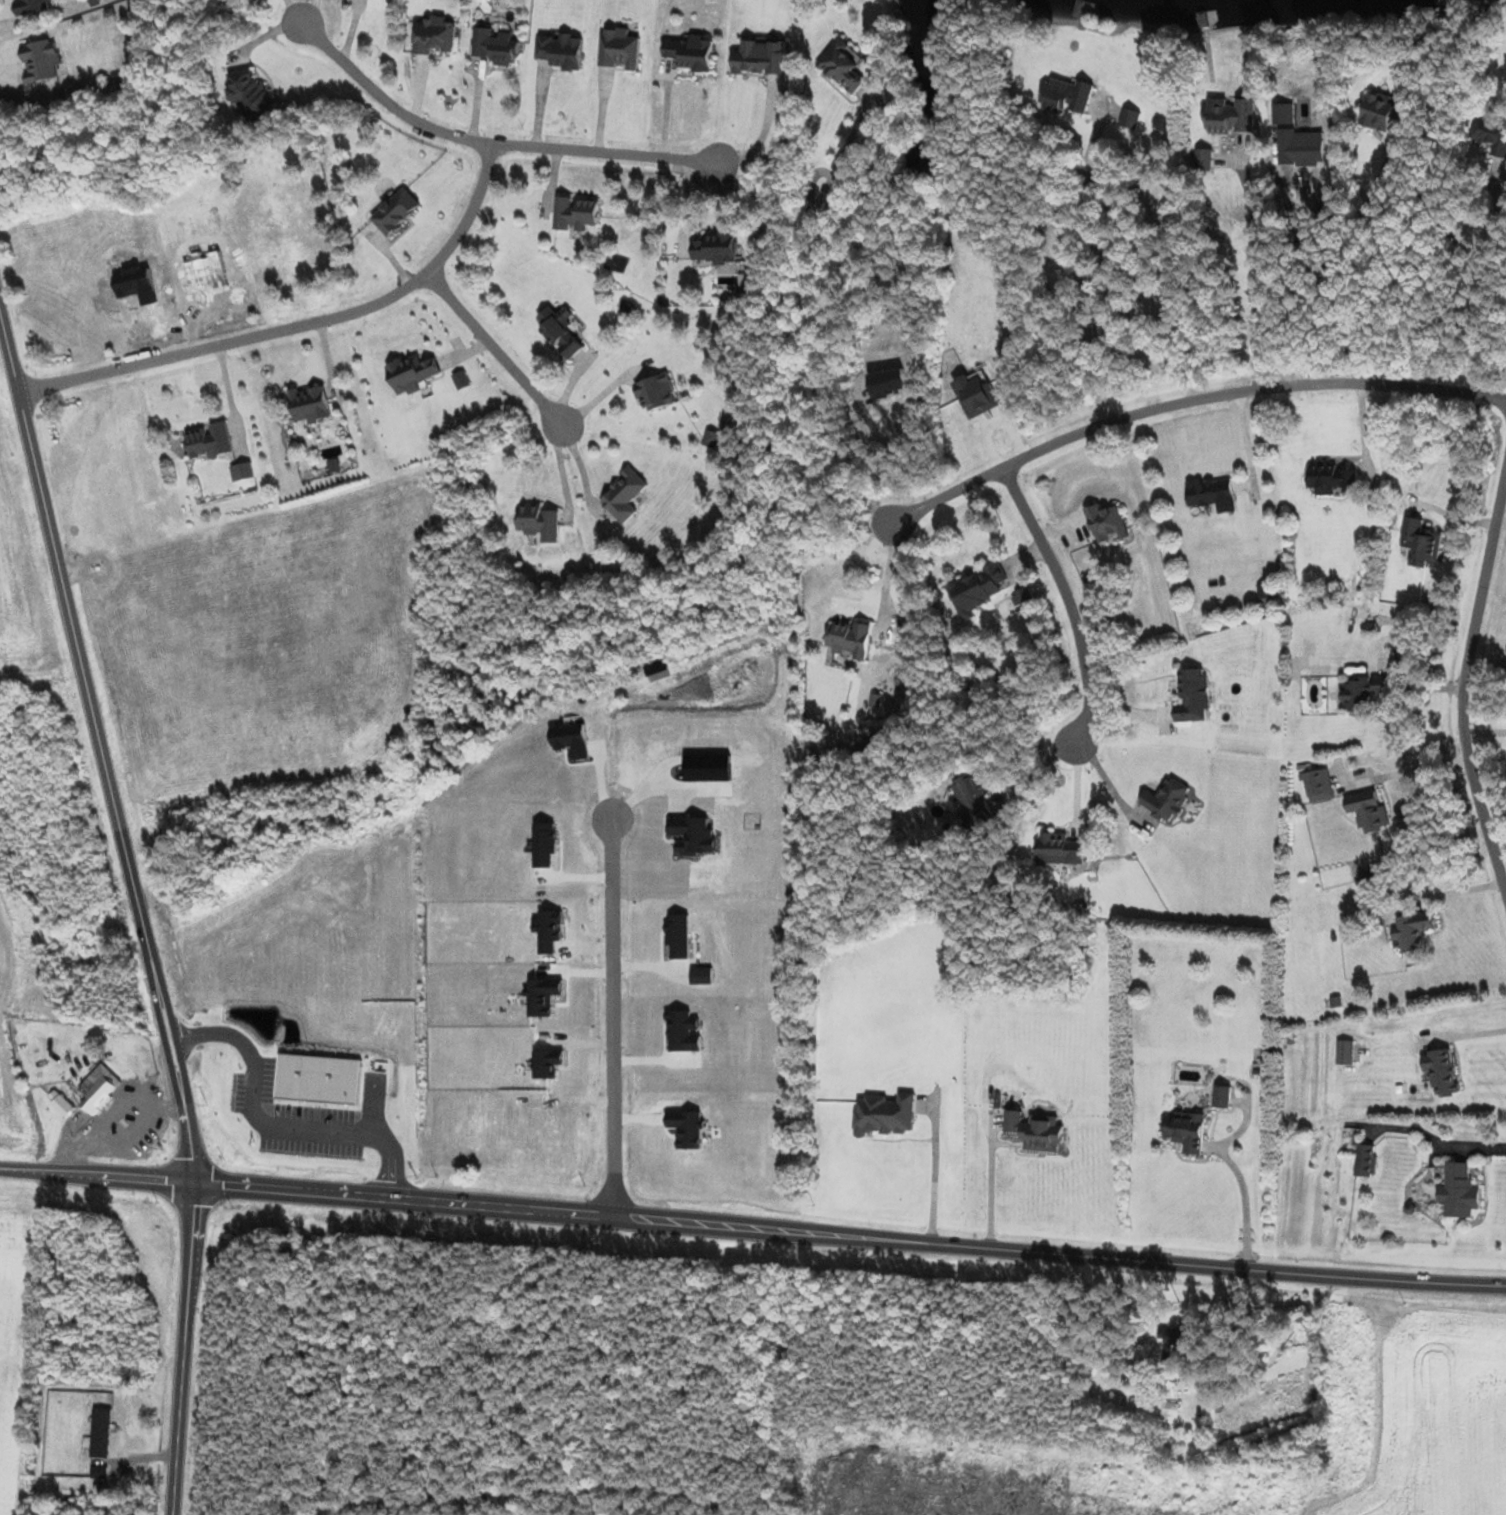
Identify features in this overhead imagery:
building: (30, 5)
building: (433, 35)
building: (495, 46)
building: (618, 49)
building: (560, 50)
building: (690, 53)
building: (759, 57)
building: (40, 60)
building: (841, 65)
building: (249, 94)
building: (1068, 95)
building: (1379, 110)
building: (1230, 115)
building: (1129, 118)
building: (1492, 133)
road: (490, 144)
building: (1204, 158)
building: (395, 212)
building: (575, 213)
building: (715, 248)
road: (1354, 267)
road: (1253, 272)
road: (297, 328)
building: (559, 333)
road: (492, 349)
building: (411, 374)
building: (656, 392)
road: (1177, 403)
building: (310, 404)
road: (24, 430)
building: (710, 439)
building: (208, 441)
road: (869, 449)
building: (242, 472)
building: (1332, 479)
building: (1213, 495)
building: (623, 496)
building: (539, 523)
building: (1106, 525)
building: (1421, 543)
building: (977, 590)
building: (1024, 600)
road: (1069, 606)
building: (848, 639)
road: (1464, 679)
building: (1364, 692)
building: (1193, 697)
building: (1318, 786)
building: (973, 800)
building: (1166, 800)
building: (1369, 811)
building: (1059, 849)
building: (1412, 932)
road: (608, 1019)
road: (165, 1020)
building: (1345, 1053)
building: (1441, 1072)
building: (98, 1088)
building: (1222, 1097)
building: (59, 1103)
building: (886, 1115)
building: (1035, 1131)
building: (1186, 1131)
building: (1366, 1161)
road: (933, 1169)
traffic signals: (195, 1184)
road: (990, 1190)
building: (1460, 1192)
road: (439, 1202)
road: (1192, 1263)
building: (1175, 1342)
building: (1170, 1413)

